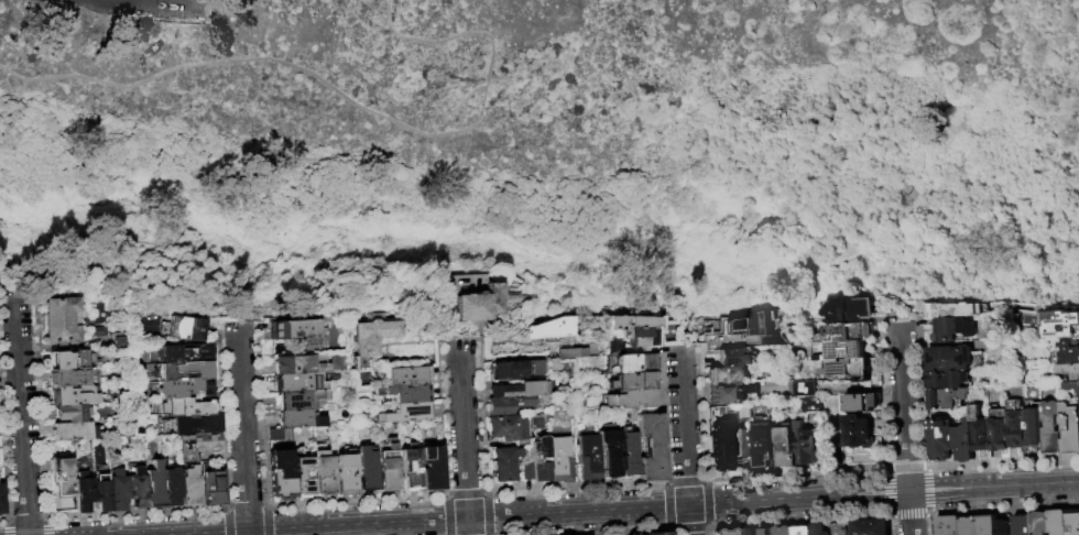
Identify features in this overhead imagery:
parking lot: (81, 1)
road: (146, 2)
road: (1075, 18)
road: (345, 97)
road: (462, 97)
park: (562, 138)
building: (469, 296)
building: (849, 310)
building: (955, 310)
building: (62, 319)
building: (1059, 326)
building: (185, 327)
building: (547, 328)
building: (294, 329)
building: (754, 329)
building: (948, 330)
building: (98, 331)
building: (848, 332)
building: (633, 335)
building: (371, 341)
building: (839, 351)
building: (181, 352)
building: (568, 352)
building: (1068, 353)
building: (733, 357)
building: (70, 359)
building: (948, 359)
building: (632, 363)
building: (299, 364)
building: (515, 369)
building: (846, 370)
building: (185, 371)
building: (1069, 372)
building: (407, 375)
building: (724, 375)
building: (72, 378)
building: (632, 381)
building: (947, 381)
building: (298, 382)
building: (183, 387)
building: (1071, 387)
building: (804, 389)
building: (519, 390)
building: (729, 394)
building: (75, 395)
building: (299, 398)
building: (629, 398)
building: (947, 400)
building: (405, 403)
building: (854, 403)
building: (871, 403)
building: (506, 405)
building: (809, 406)
building: (186, 407)
building: (72, 412)
building: (717, 414)
road: (21, 416)
building: (301, 418)
building: (199, 424)
road: (243, 427)
building: (505, 427)
road: (905, 428)
building: (1033, 429)
building: (1050, 429)
building: (1069, 429)
building: (74, 430)
building: (998, 430)
building: (1016, 430)
building: (276, 434)
building: (855, 434)
road: (464, 437)
building: (964, 438)
building: (980, 438)
road: (685, 439)
building: (761, 441)
building: (940, 441)
building: (196, 444)
building: (651, 447)
building: (803, 447)
building: (784, 448)
building: (721, 451)
building: (609, 452)
building: (628, 452)
building: (588, 457)
building: (539, 459)
building: (558, 459)
building: (504, 463)
building: (389, 467)
building: (410, 467)
building: (367, 469)
building: (432, 469)
building: (526, 471)
building: (281, 472)
building: (303, 473)
building: (324, 473)
building: (346, 473)
building: (61, 476)
building: (171, 484)
building: (154, 485)
building: (211, 485)
building: (189, 487)
building: (137, 488)
building: (118, 489)
building: (101, 492)
building: (83, 493)
building: (1, 500)
road: (618, 507)
building: (1072, 521)
building: (1057, 522)
building: (1038, 523)
building: (947, 525)
building: (985, 525)
building: (1021, 525)
building: (968, 526)
building: (868, 527)
building: (1002, 527)
building: (835, 528)
building: (800, 529)
building: (817, 529)
building: (724, 531)
building: (763, 531)
building: (783, 531)
building: (744, 532)
building: (657, 533)

